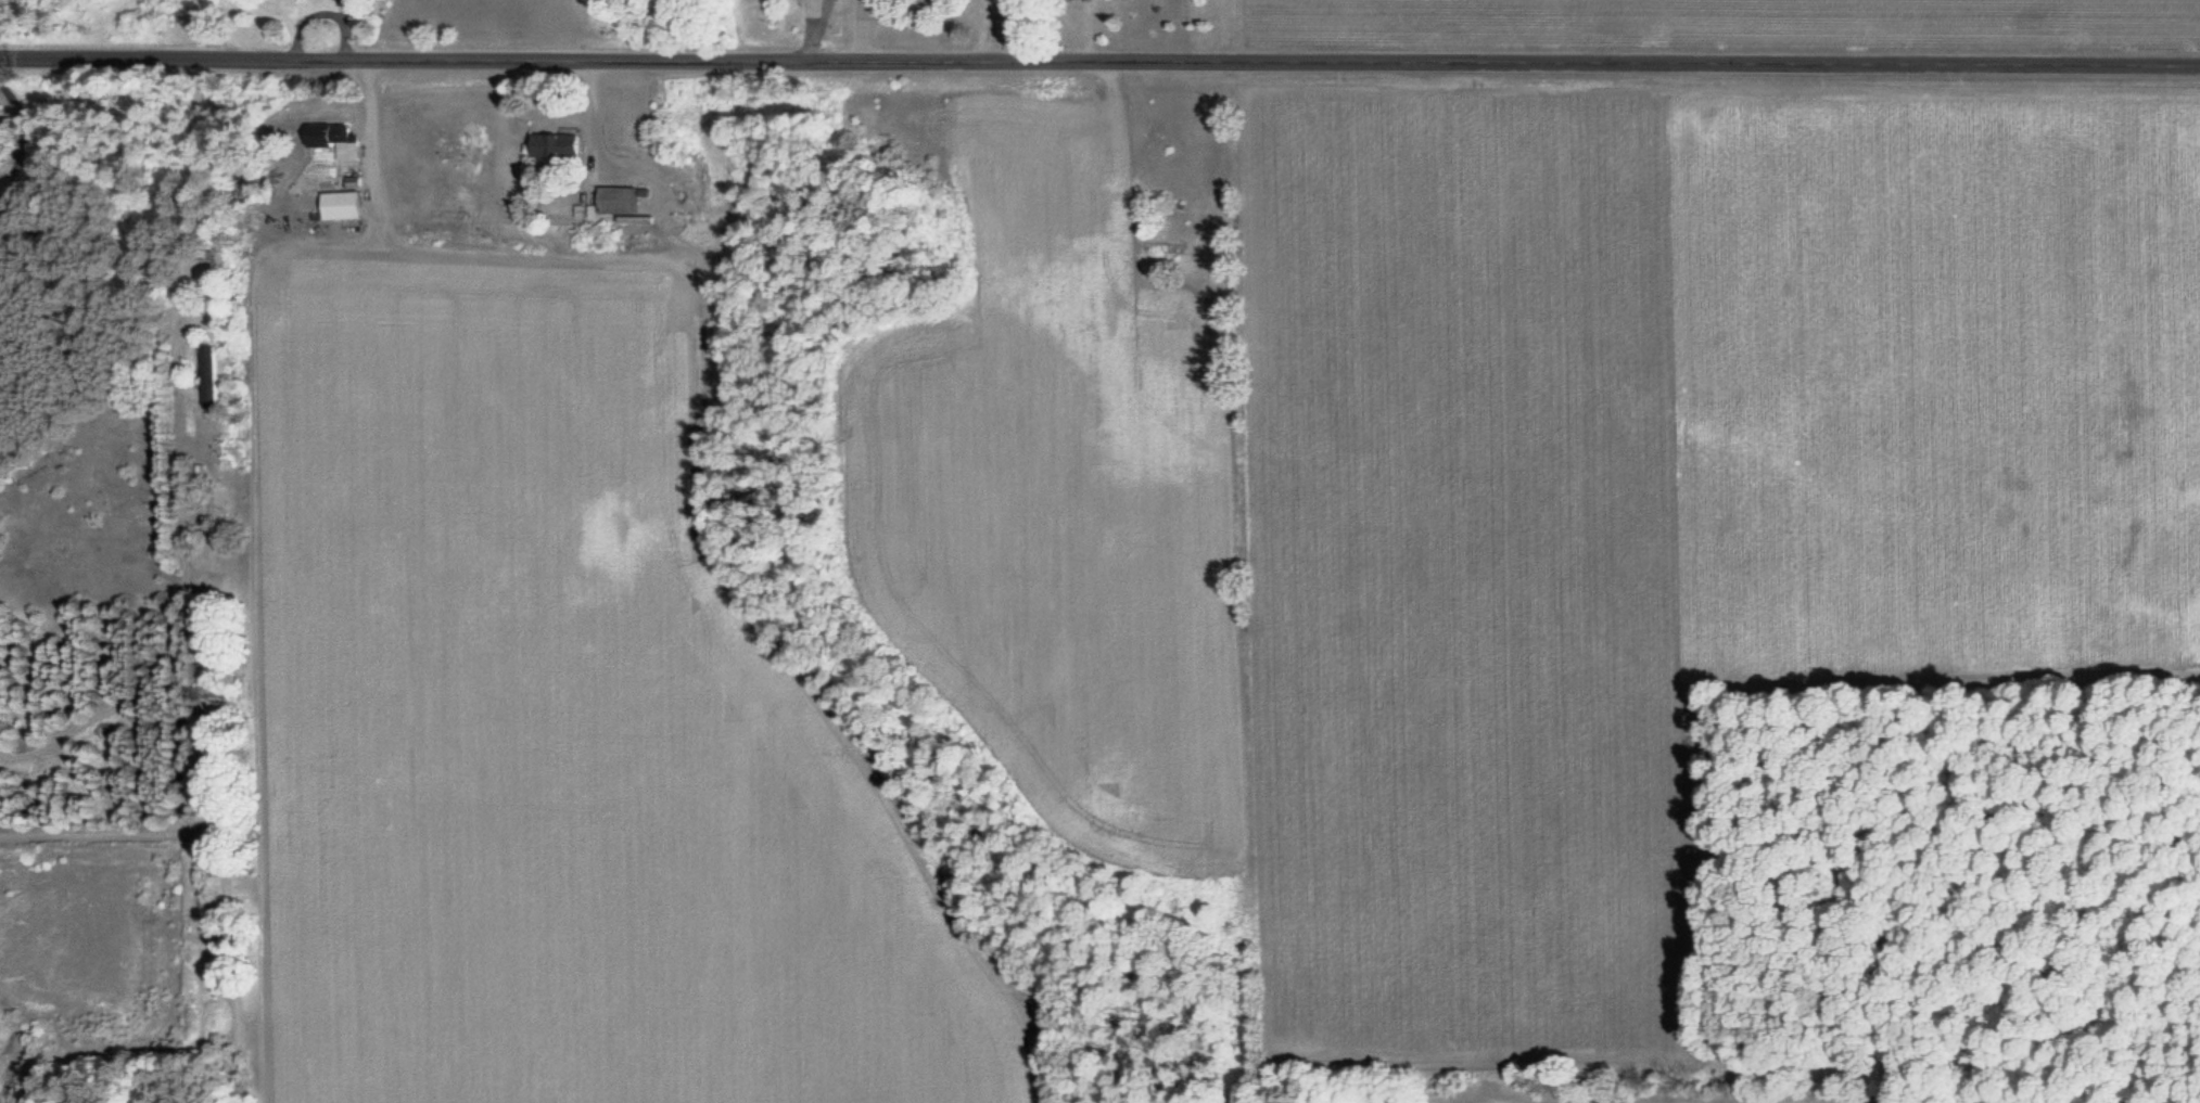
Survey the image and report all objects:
road: (1099, 62)
building: (331, 140)
building: (555, 146)
building: (615, 202)
building: (341, 207)
building: (1154, 246)
building: (209, 382)

